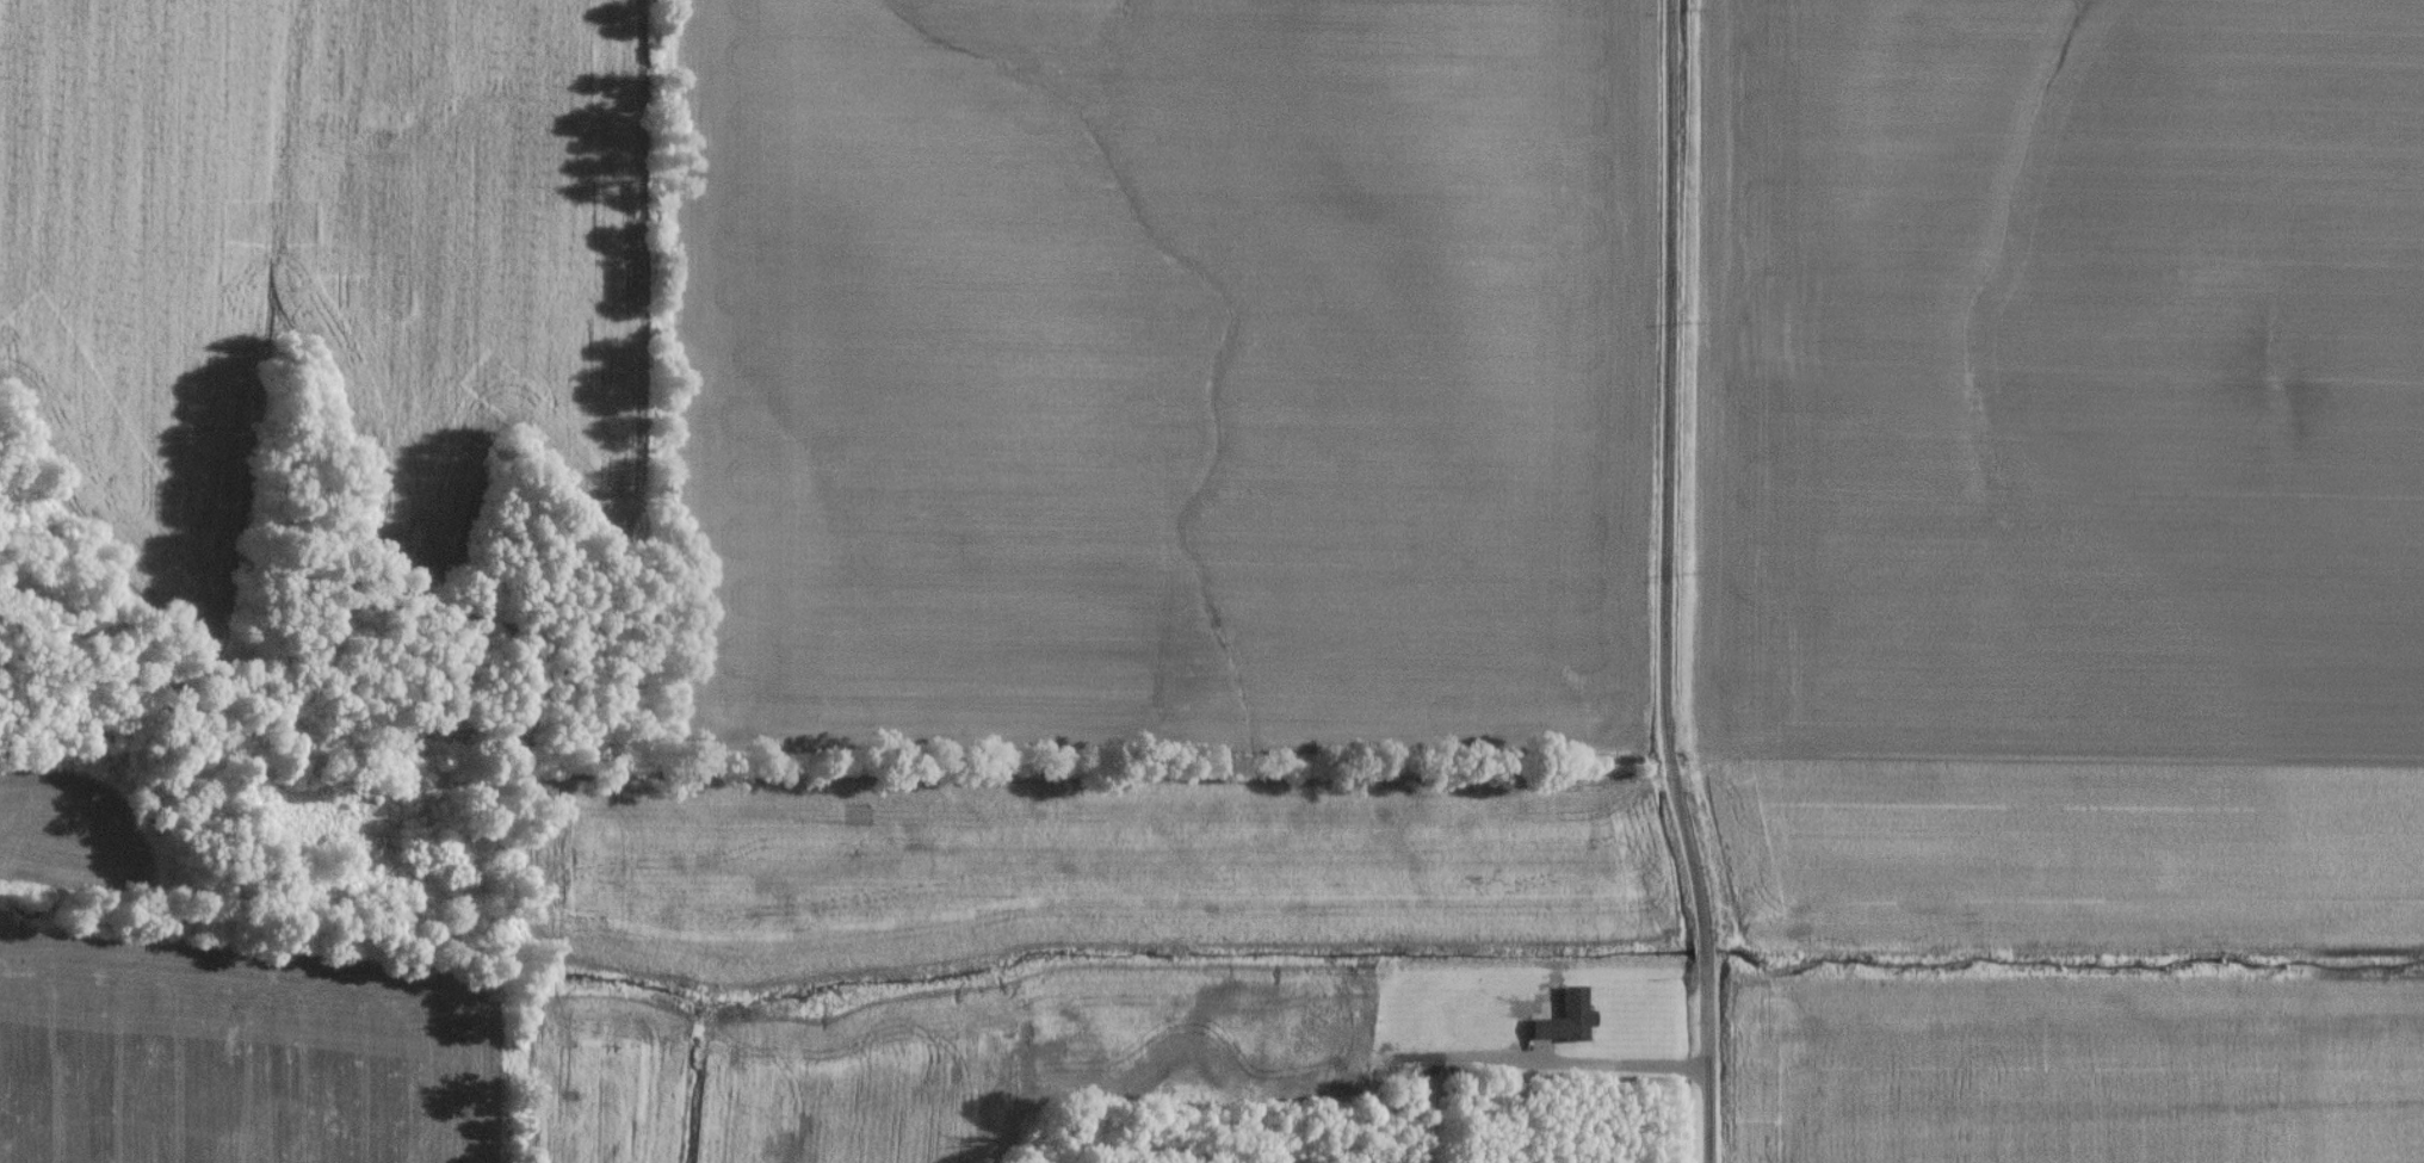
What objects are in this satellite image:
road: (1668, 582)
building: (1563, 1020)
road: (1616, 1070)

